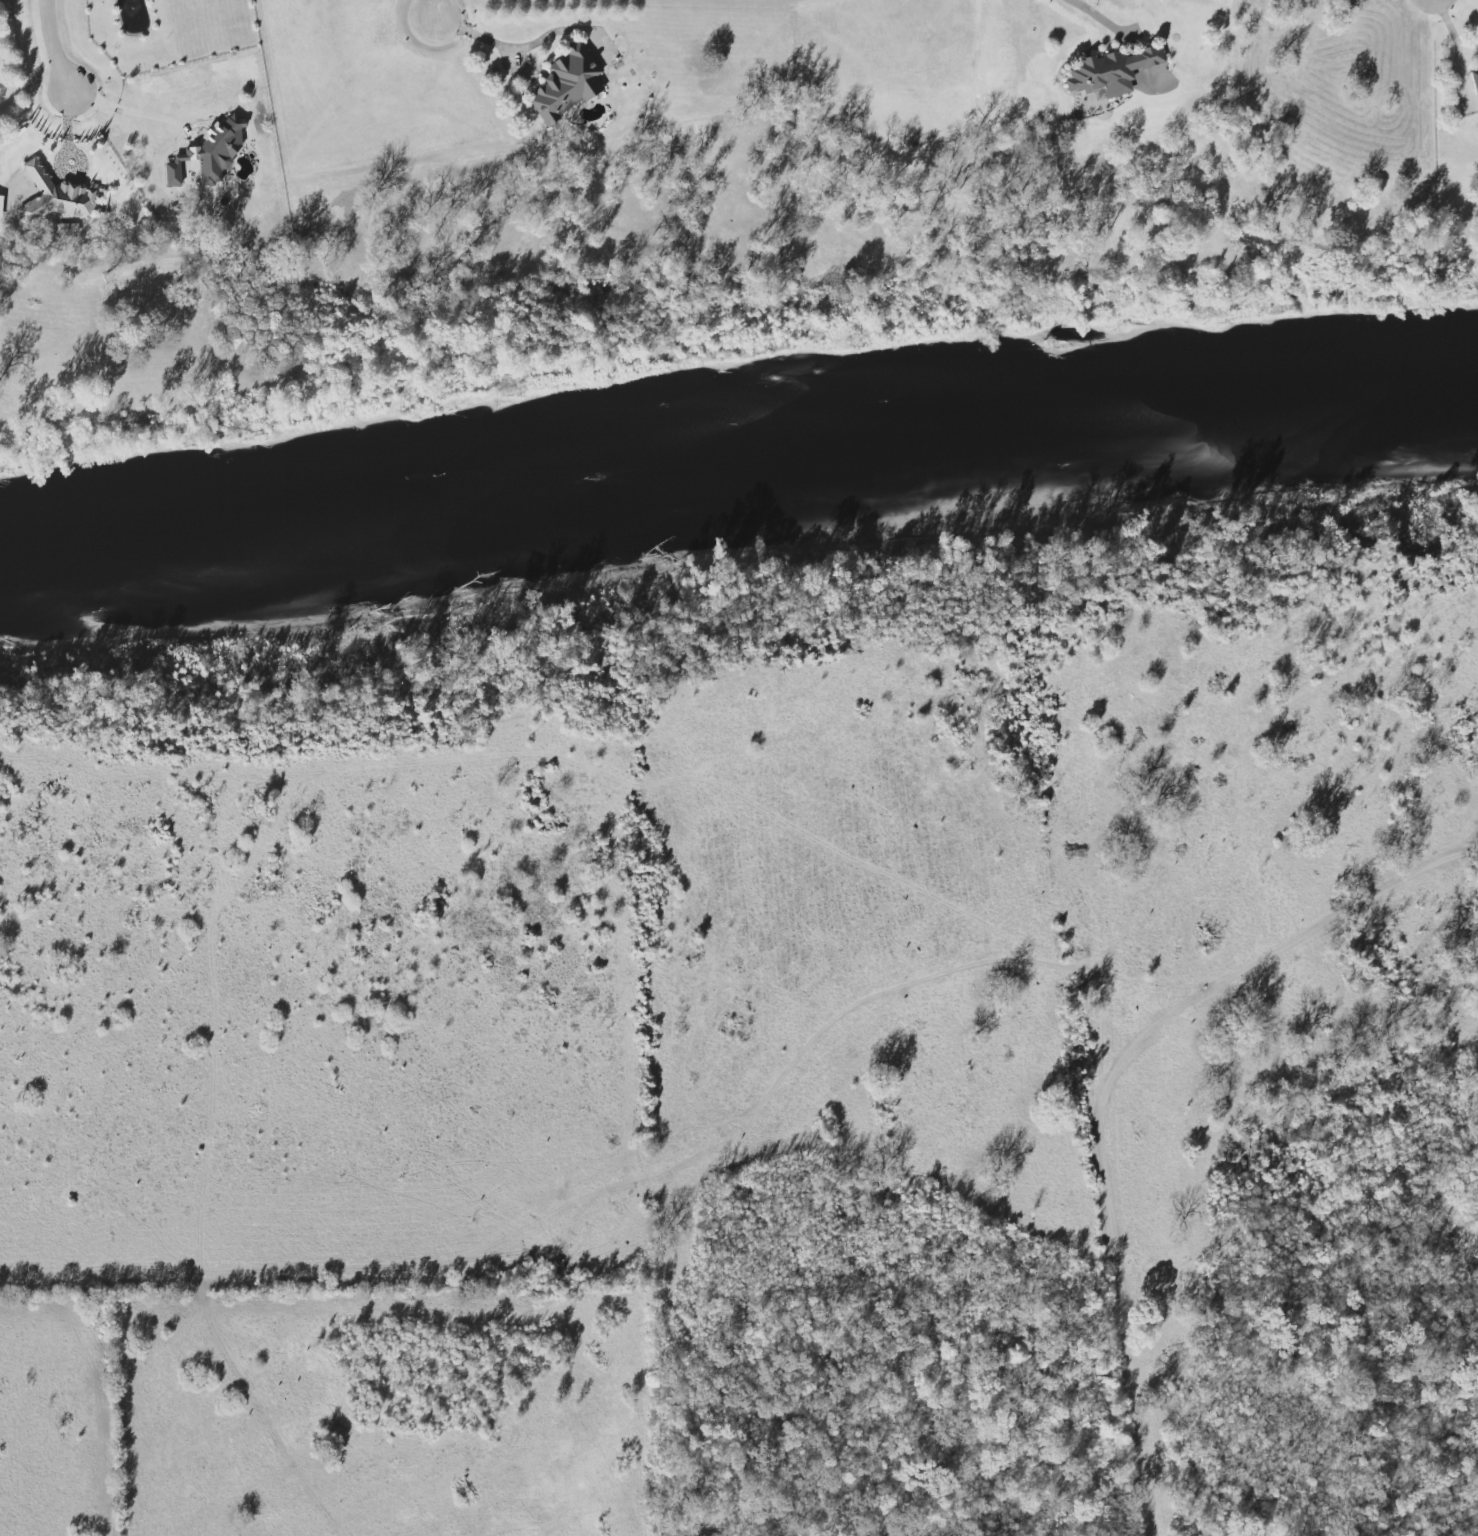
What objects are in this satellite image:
road: (437, 10)
road: (1092, 14)
road: (1456, 44)
road: (499, 47)
road: (48, 49)
building: (1111, 72)
building: (1474, 82)
road: (26, 84)
building: (567, 84)
road: (129, 111)
building: (211, 154)
building: (55, 197)
building: (67, 229)
river: (735, 445)
road: (1104, 1091)

